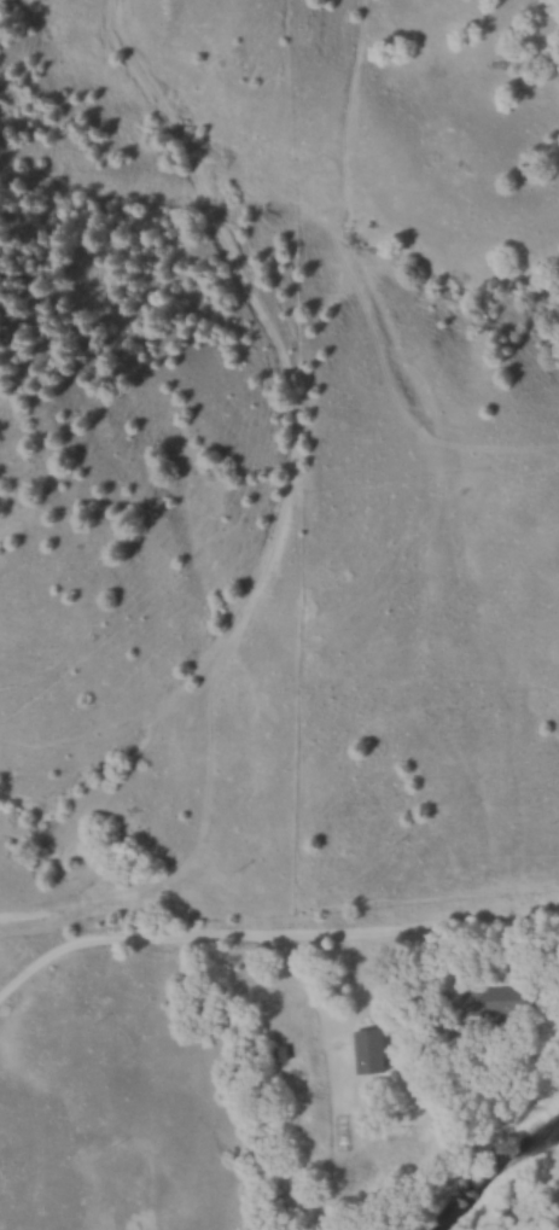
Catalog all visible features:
road: (272, 942)
building: (503, 998)
building: (377, 1050)
building: (286, 1053)

